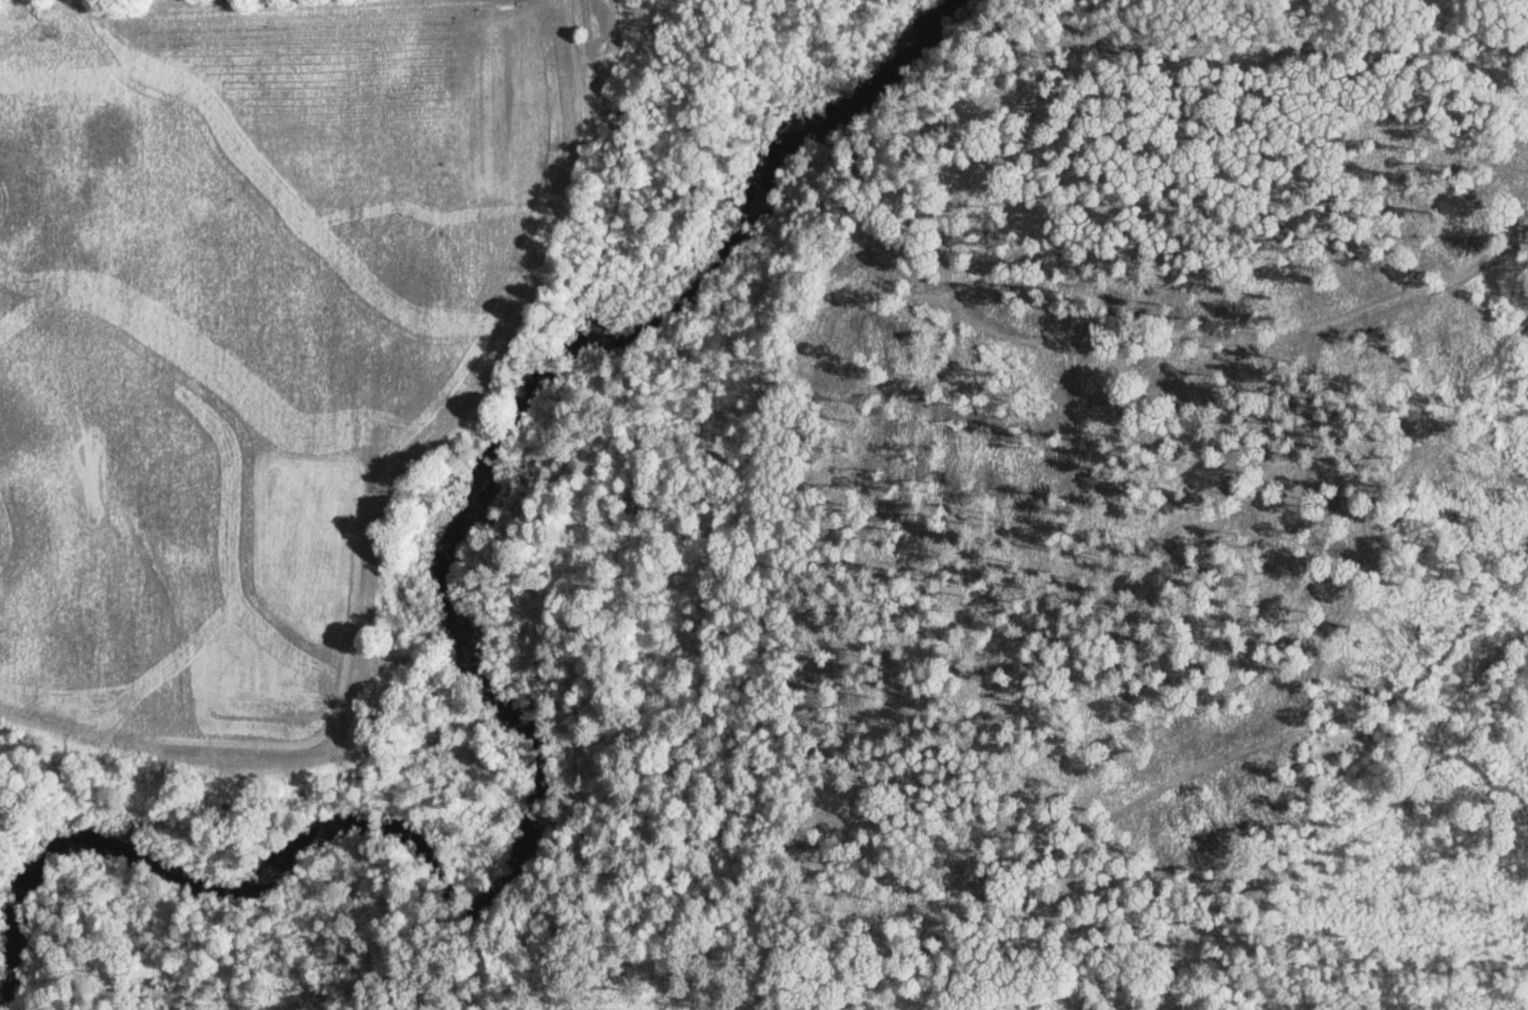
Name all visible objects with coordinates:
river: (492, 679)

